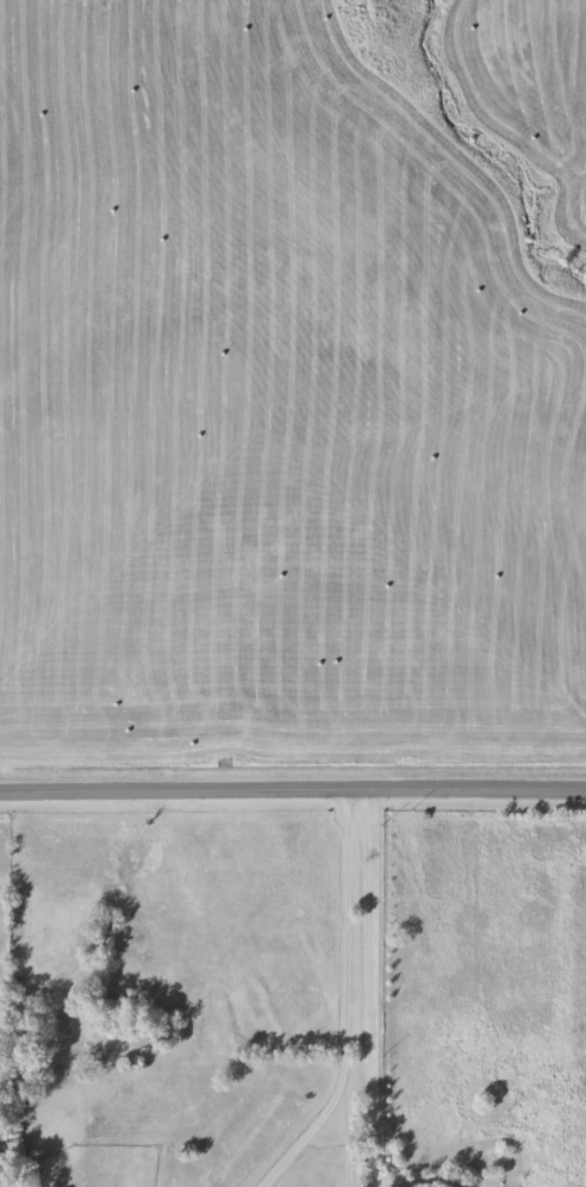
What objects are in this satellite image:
road: (293, 788)
road: (370, 987)
road: (339, 1001)
road: (426, 1181)
road: (368, 1185)
road: (376, 1185)

